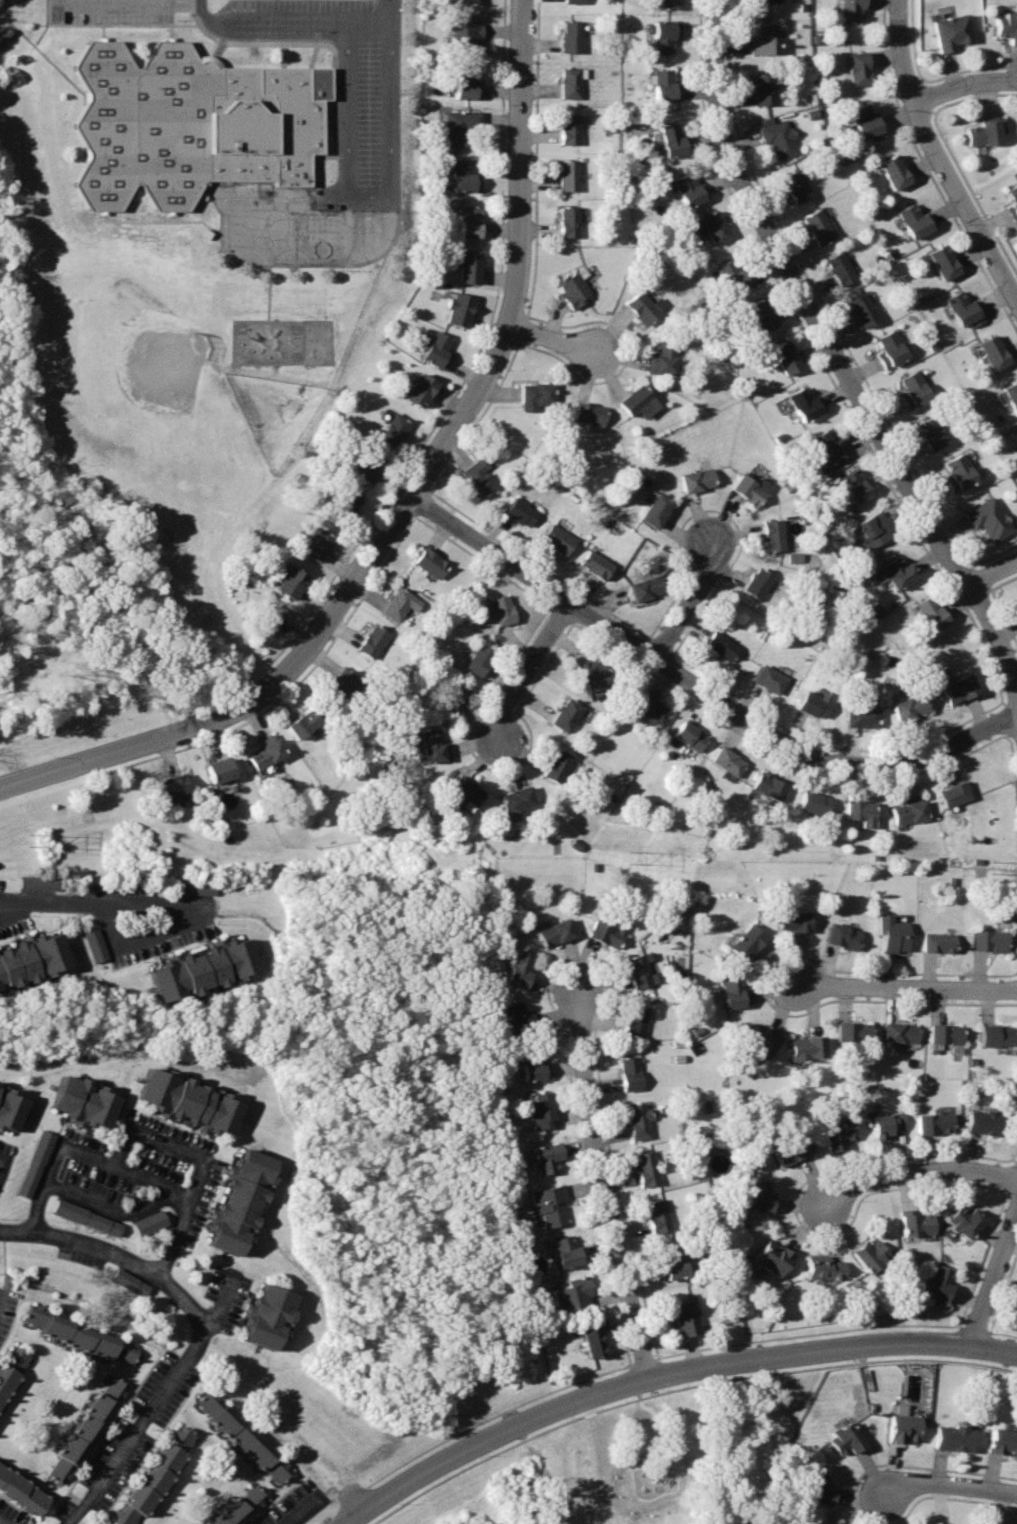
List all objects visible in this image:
building: (572, 0)
building: (769, 1)
building: (464, 2)
road: (125, 3)
building: (668, 4)
building: (852, 10)
parking lot: (110, 11)
road: (302, 24)
building: (1008, 25)
building: (952, 31)
building: (665, 35)
building: (466, 36)
building: (570, 37)
building: (766, 39)
building: (860, 69)
building: (571, 81)
parking lot: (349, 82)
building: (467, 84)
road: (964, 84)
building: (665, 86)
building: (764, 88)
building: (865, 122)
building: (461, 126)
building: (193, 129)
building: (569, 129)
building: (987, 131)
building: (779, 138)
building: (672, 140)
road: (938, 154)
building: (895, 171)
building: (466, 175)
building: (569, 175)
building: (796, 185)
building: (689, 188)
road: (370, 195)
building: (1013, 200)
building: (472, 220)
building: (915, 220)
building: (570, 221)
building: (715, 225)
building: (820, 225)
building: (945, 260)
building: (468, 264)
building: (841, 267)
building: (735, 275)
building: (575, 286)
building: (645, 307)
building: (459, 309)
building: (863, 309)
building: (964, 309)
building: (763, 315)
road: (554, 338)
building: (892, 349)
building: (438, 350)
building: (995, 352)
road: (835, 354)
building: (665, 357)
building: (787, 358)
building: (914, 389)
building: (420, 390)
building: (1012, 394)
building: (537, 395)
building: (636, 399)
building: (805, 404)
building: (590, 413)
building: (393, 430)
building: (932, 432)
building: (827, 447)
building: (370, 466)
building: (959, 473)
building: (478, 477)
building: (698, 481)
building: (856, 487)
building: (749, 490)
road: (408, 496)
building: (344, 502)
building: (658, 509)
building: (521, 512)
building: (990, 519)
building: (876, 528)
building: (773, 533)
building: (559, 538)
building: (317, 543)
building: (430, 563)
building: (597, 563)
road: (993, 571)
building: (901, 572)
building: (291, 580)
building: (758, 582)
building: (647, 585)
road: (690, 599)
building: (399, 604)
building: (501, 610)
building: (932, 612)
building: (266, 618)
building: (371, 641)
building: (721, 645)
building: (479, 660)
road: (527, 669)
building: (593, 674)
building: (769, 679)
building: (343, 685)
road: (700, 687)
building: (961, 689)
building: (454, 697)
building: (815, 705)
building: (911, 707)
building: (650, 709)
building: (567, 715)
building: (863, 715)
building: (303, 725)
building: (689, 735)
building: (434, 746)
building: (265, 754)
building: (727, 761)
building: (557, 766)
building: (219, 771)
building: (769, 787)
building: (171, 788)
building: (466, 789)
building: (957, 795)
building: (517, 801)
building: (815, 803)
building: (862, 812)
building: (910, 812)
building: (39, 883)
building: (197, 888)
road: (14, 906)
road: (98, 906)
building: (796, 919)
building: (554, 930)
building: (608, 930)
building: (893, 933)
building: (844, 934)
building: (990, 938)
building: (747, 939)
road: (143, 940)
building: (939, 940)
building: (95, 945)
building: (33, 958)
building: (519, 968)
building: (204, 969)
building: (639, 970)
road: (906, 986)
building: (733, 989)
building: (516, 1017)
building: (635, 1021)
building: (854, 1030)
building: (900, 1031)
building: (945, 1032)
building: (997, 1034)
building: (759, 1038)
building: (808, 1043)
building: (533, 1063)
building: (630, 1073)
building: (0, 1084)
building: (85, 1099)
building: (192, 1101)
building: (11, 1108)
building: (540, 1109)
building: (638, 1119)
building: (935, 1122)
building: (984, 1122)
building: (887, 1123)
building: (838, 1132)
park: (381, 1134)
building: (793, 1149)
road: (81, 1151)
building: (546, 1155)
road: (203, 1162)
road: (5, 1163)
building: (37, 1163)
building: (646, 1166)
road: (918, 1172)
road: (602, 1187)
building: (760, 1194)
building: (243, 1201)
building: (549, 1204)
road: (110, 1207)
building: (658, 1214)
building: (87, 1218)
building: (967, 1219)
building: (149, 1222)
building: (918, 1222)
building: (565, 1250)
building: (872, 1253)
building: (774, 1256)
building: (673, 1262)
building: (825, 1269)
road: (994, 1273)
building: (131, 1282)
building: (940, 1283)
building: (572, 1293)
road: (2, 1302)
road: (224, 1303)
building: (270, 1314)
building: (686, 1316)
road: (201, 1329)
building: (81, 1335)
building: (594, 1341)
road: (994, 1349)
building: (12, 1373)
road: (644, 1380)
building: (905, 1423)
building: (89, 1426)
building: (244, 1436)
building: (848, 1436)
building: (955, 1436)
building: (1003, 1438)
park: (624, 1444)
building: (156, 1476)
road: (950, 1484)
building: (819, 1488)
building: (22, 1492)
building: (240, 1506)
road: (300, 1510)
road: (6, 1519)
building: (836, 1523)

